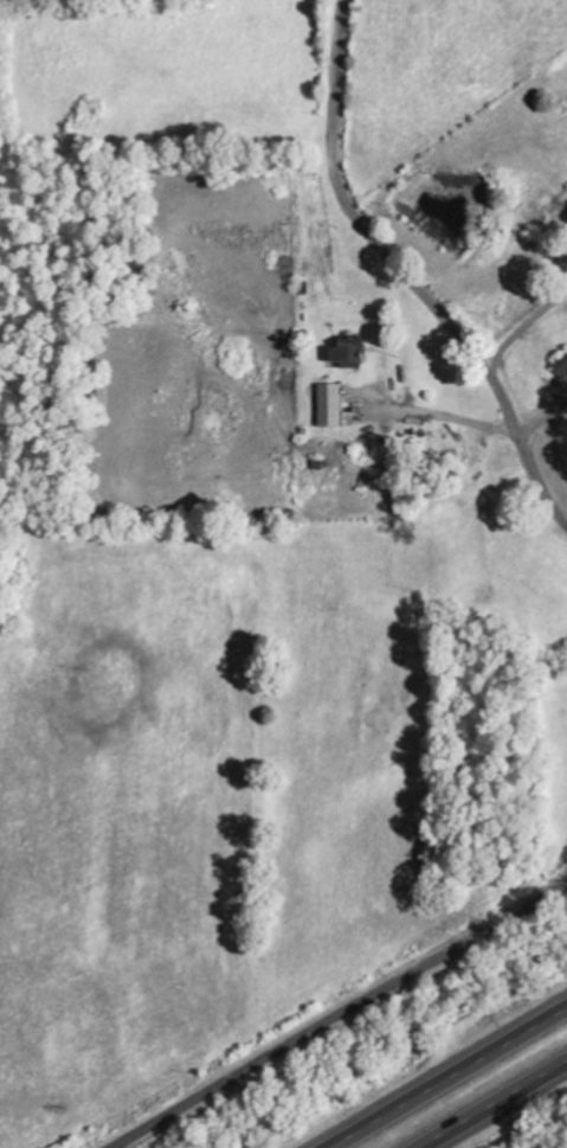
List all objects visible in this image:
road: (406, 274)
building: (561, 366)
building: (330, 405)
road: (342, 1015)
road: (444, 1075)
road: (497, 1107)

